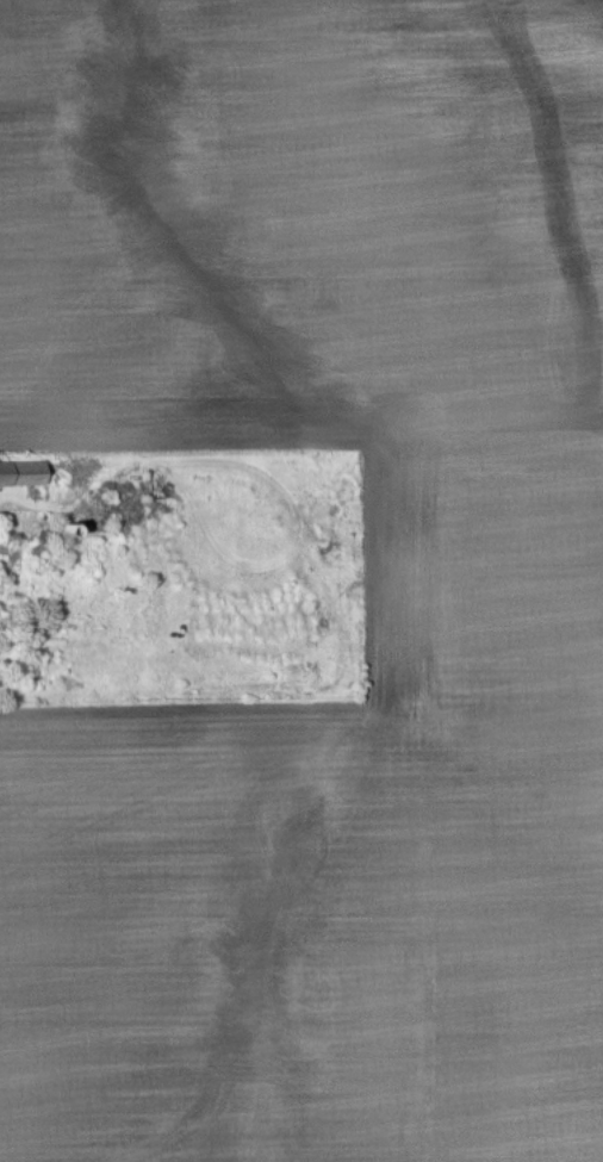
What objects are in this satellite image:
building: (21, 476)

